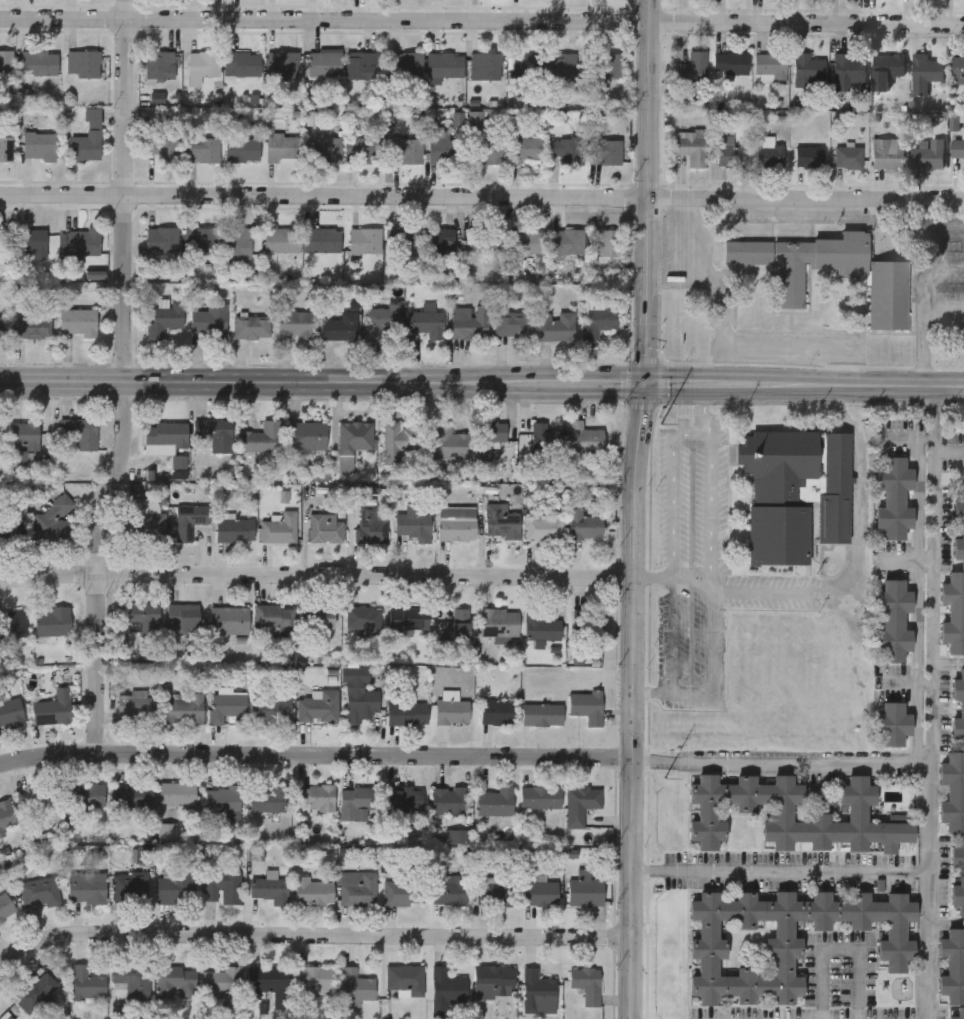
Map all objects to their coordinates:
road: (481, 20)
building: (729, 62)
building: (5, 64)
building: (42, 64)
building: (82, 64)
building: (202, 64)
building: (241, 65)
building: (279, 66)
building: (324, 66)
building: (444, 66)
building: (770, 66)
building: (357, 67)
building: (405, 67)
building: (484, 67)
building: (605, 67)
building: (691, 67)
building: (159, 68)
building: (563, 68)
building: (847, 68)
building: (528, 69)
building: (957, 69)
building: (807, 70)
building: (887, 72)
building: (924, 72)
power tower: (660, 78)
building: (87, 139)
building: (689, 145)
building: (957, 146)
building: (38, 147)
building: (282, 148)
building: (526, 148)
building: (563, 148)
building: (5, 149)
building: (361, 149)
building: (161, 150)
building: (202, 150)
building: (241, 150)
building: (326, 150)
building: (445, 150)
building: (404, 151)
building: (488, 152)
building: (604, 152)
building: (727, 152)
building: (886, 153)
building: (807, 155)
building: (927, 155)
building: (769, 156)
building: (847, 157)
road: (481, 197)
building: (161, 241)
building: (323, 241)
building: (484, 241)
building: (199, 242)
building: (279, 242)
building: (527, 242)
building: (606, 242)
building: (410, 243)
building: (440, 243)
building: (30, 244)
building: (365, 244)
building: (237, 245)
building: (81, 246)
building: (566, 246)
road: (927, 249)
building: (2, 256)
road: (945, 266)
building: (887, 293)
building: (599, 319)
building: (165, 320)
building: (210, 322)
building: (469, 323)
building: (77, 324)
building: (293, 324)
building: (380, 324)
building: (426, 325)
building: (510, 325)
building: (556, 327)
building: (1, 328)
building: (251, 328)
building: (339, 328)
building: (31, 329)
road: (925, 330)
road: (727, 338)
road: (352, 383)
road: (126, 385)
traffic signals: (645, 385)
road: (834, 386)
road: (704, 405)
power tower: (659, 421)
building: (79, 430)
building: (215, 432)
building: (307, 435)
building: (164, 436)
building: (262, 436)
building: (355, 436)
building: (489, 436)
building: (546, 437)
building: (582, 437)
building: (0, 440)
building: (398, 440)
building: (450, 441)
building: (24, 442)
road: (947, 454)
road: (675, 491)
building: (794, 491)
building: (893, 499)
road: (711, 505)
road: (632, 509)
building: (147, 516)
building: (189, 519)
building: (50, 520)
building: (501, 520)
building: (414, 522)
building: (456, 522)
building: (584, 523)
building: (371, 524)
building: (279, 527)
building: (325, 527)
building: (544, 527)
building: (235, 529)
building: (961, 531)
building: (6, 534)
parking lot: (691, 565)
road: (315, 576)
road: (841, 585)
building: (953, 612)
building: (182, 615)
building: (273, 615)
building: (408, 615)
building: (318, 616)
building: (139, 617)
building: (228, 618)
building: (363, 618)
building: (52, 620)
building: (498, 621)
building: (892, 621)
building: (586, 622)
building: (13, 623)
building: (455, 625)
building: (542, 627)
road: (654, 691)
road: (685, 692)
building: (360, 702)
road: (927, 703)
building: (226, 705)
building: (319, 705)
building: (586, 705)
building: (134, 706)
building: (958, 706)
building: (52, 707)
building: (182, 708)
building: (272, 708)
building: (452, 710)
building: (497, 710)
building: (10, 711)
building: (407, 712)
building: (541, 713)
building: (891, 721)
road: (316, 764)
road: (781, 765)
power tower: (664, 787)
building: (952, 790)
building: (177, 793)
building: (84, 795)
building: (131, 795)
building: (315, 795)
building: (540, 795)
building: (403, 798)
building: (36, 799)
building: (268, 799)
building: (357, 799)
building: (222, 800)
building: (447, 800)
building: (494, 800)
building: (580, 802)
building: (5, 815)
building: (856, 815)
building: (142, 853)
road: (779, 868)
building: (957, 875)
building: (176, 883)
building: (86, 886)
building: (129, 886)
building: (221, 886)
building: (356, 887)
building: (269, 888)
building: (448, 888)
building: (496, 890)
building: (39, 891)
building: (312, 891)
building: (585, 891)
building: (403, 892)
building: (540, 892)
building: (7, 911)
road: (312, 935)
building: (787, 936)
road: (840, 950)
building: (952, 962)
building: (312, 976)
building: (221, 978)
building: (266, 978)
building: (405, 978)
building: (491, 978)
building: (131, 979)
building: (176, 979)
building: (586, 982)
building: (86, 983)
building: (355, 985)
building: (445, 989)
building: (34, 990)
building: (537, 991)
building: (958, 1013)

